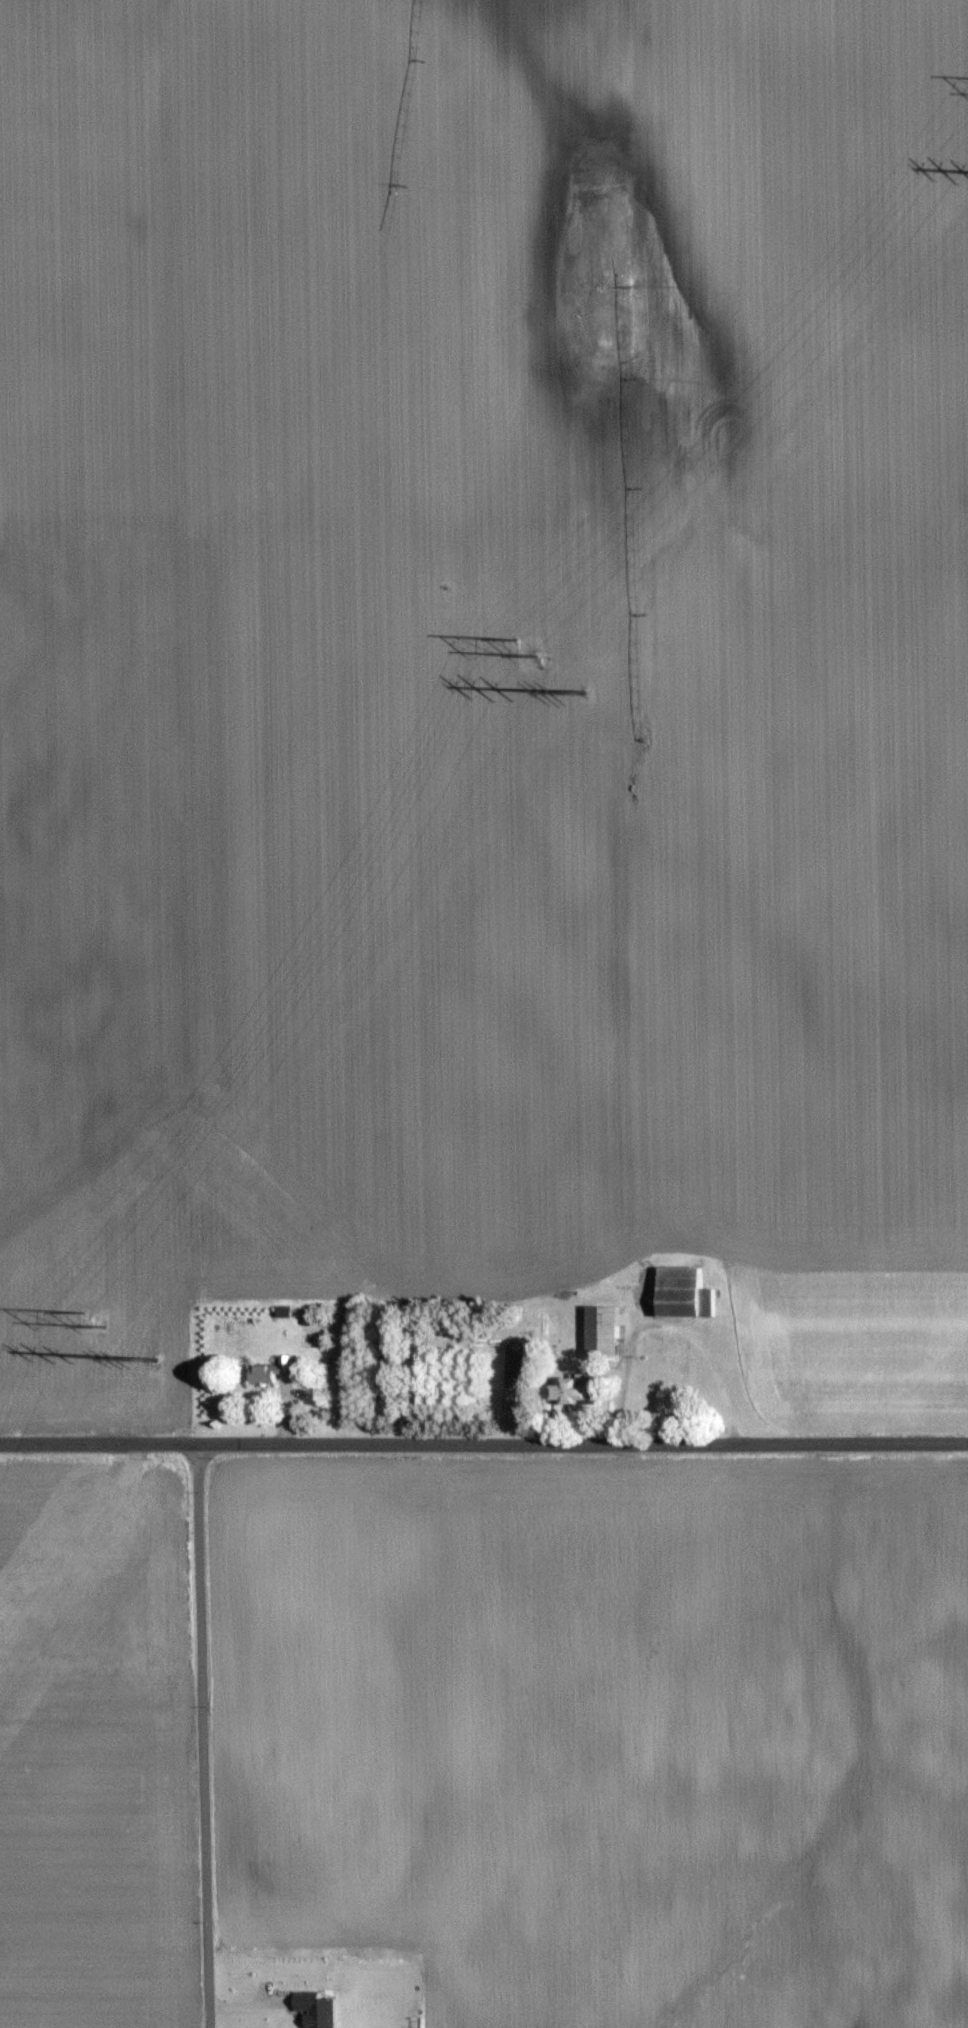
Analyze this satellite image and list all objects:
power tower: (521, 645)
power tower: (580, 688)
building: (682, 1292)
power tower: (91, 1315)
building: (601, 1330)
building: (756, 1332)
power tower: (154, 1357)
building: (717, 1359)
building: (268, 1370)
building: (571, 1389)
road: (483, 1442)
road: (202, 1734)

